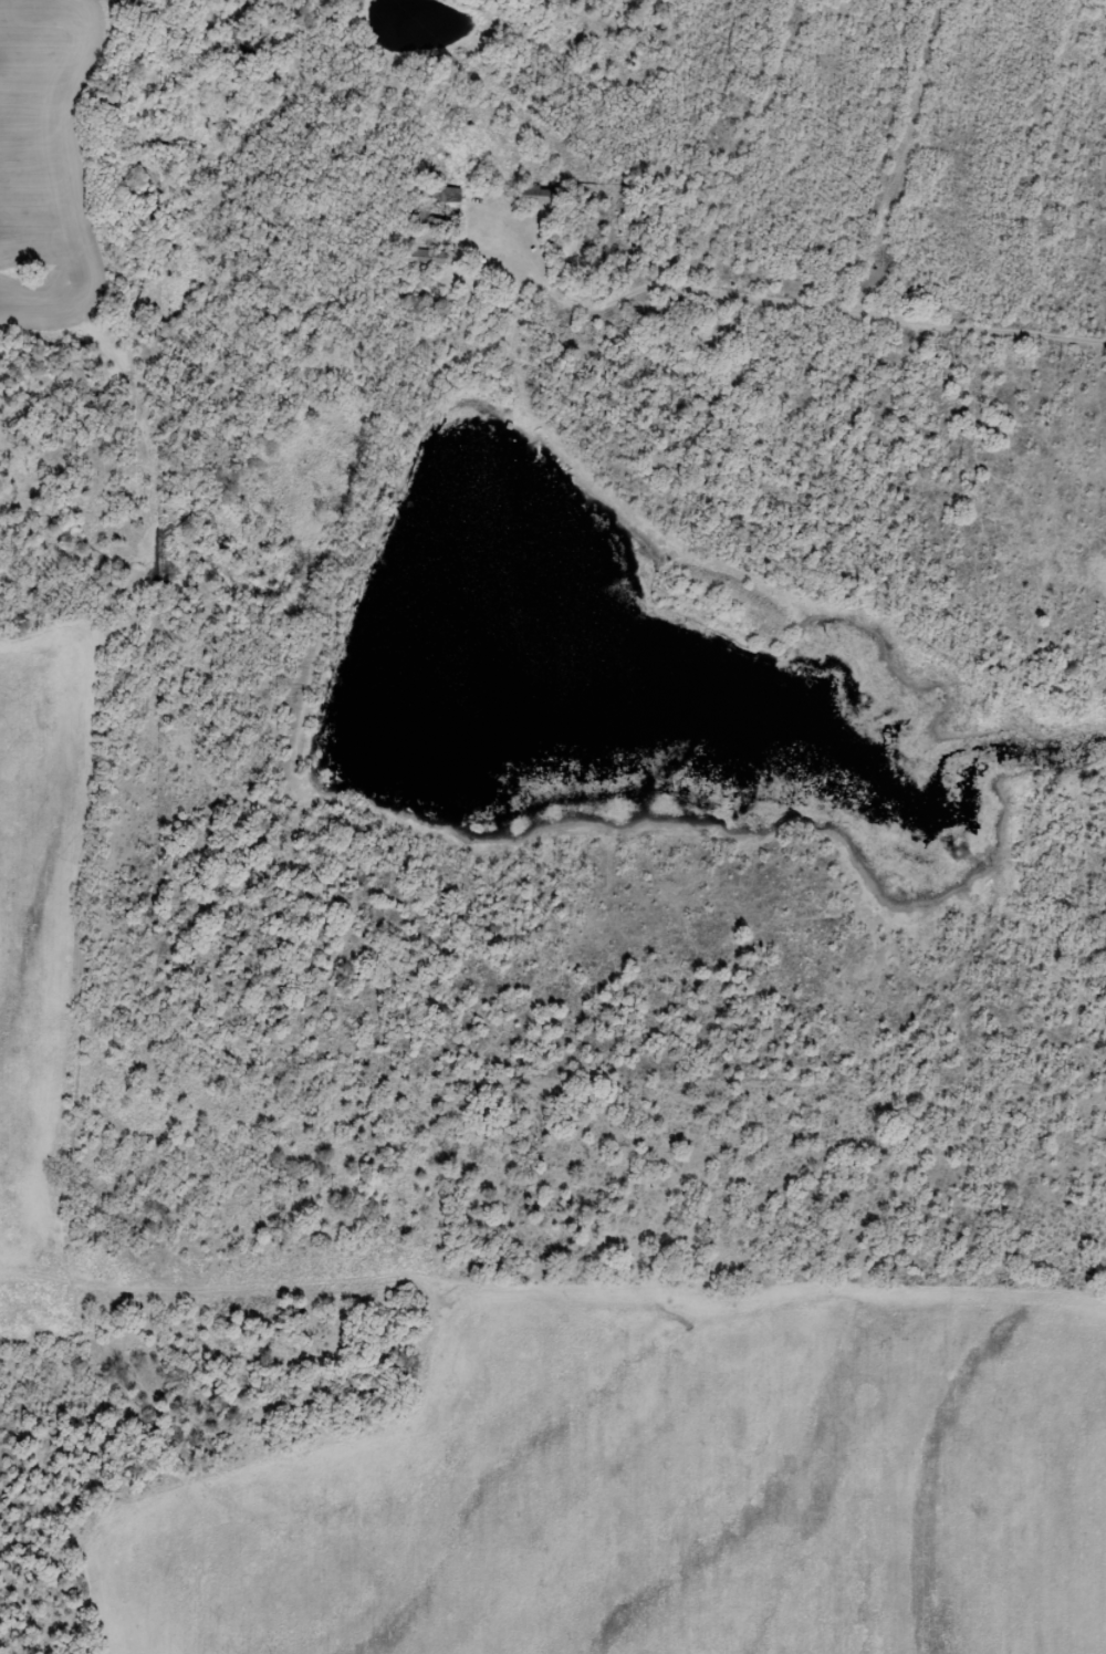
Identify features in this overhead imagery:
building: (441, 199)
building: (424, 257)
road: (834, 312)

